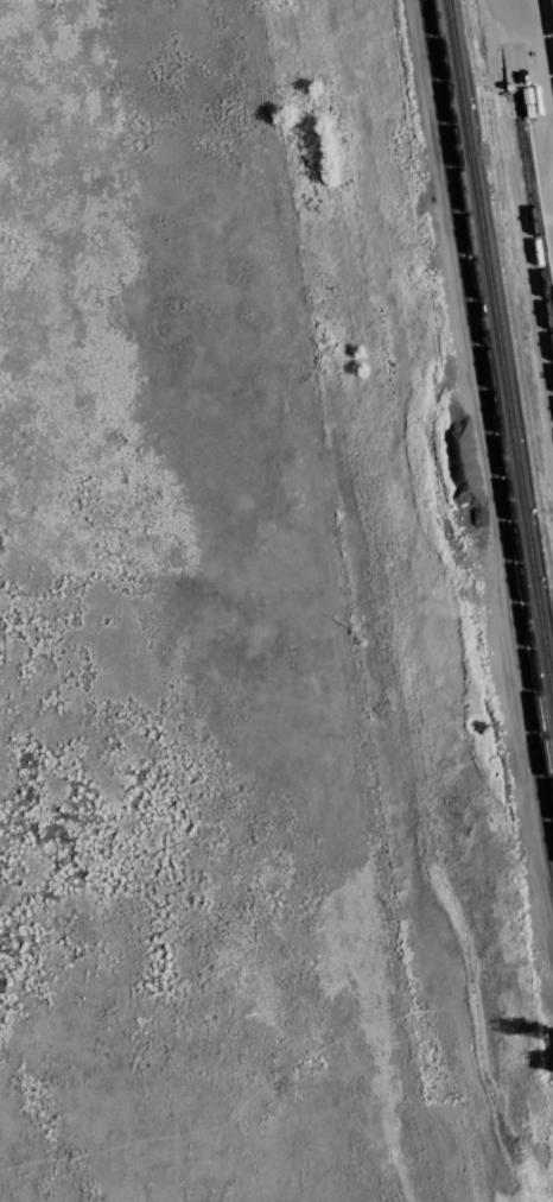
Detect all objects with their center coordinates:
railway: (552, 0)
railway: (532, 232)
railway: (500, 356)
railway: (494, 401)
railway: (488, 432)

